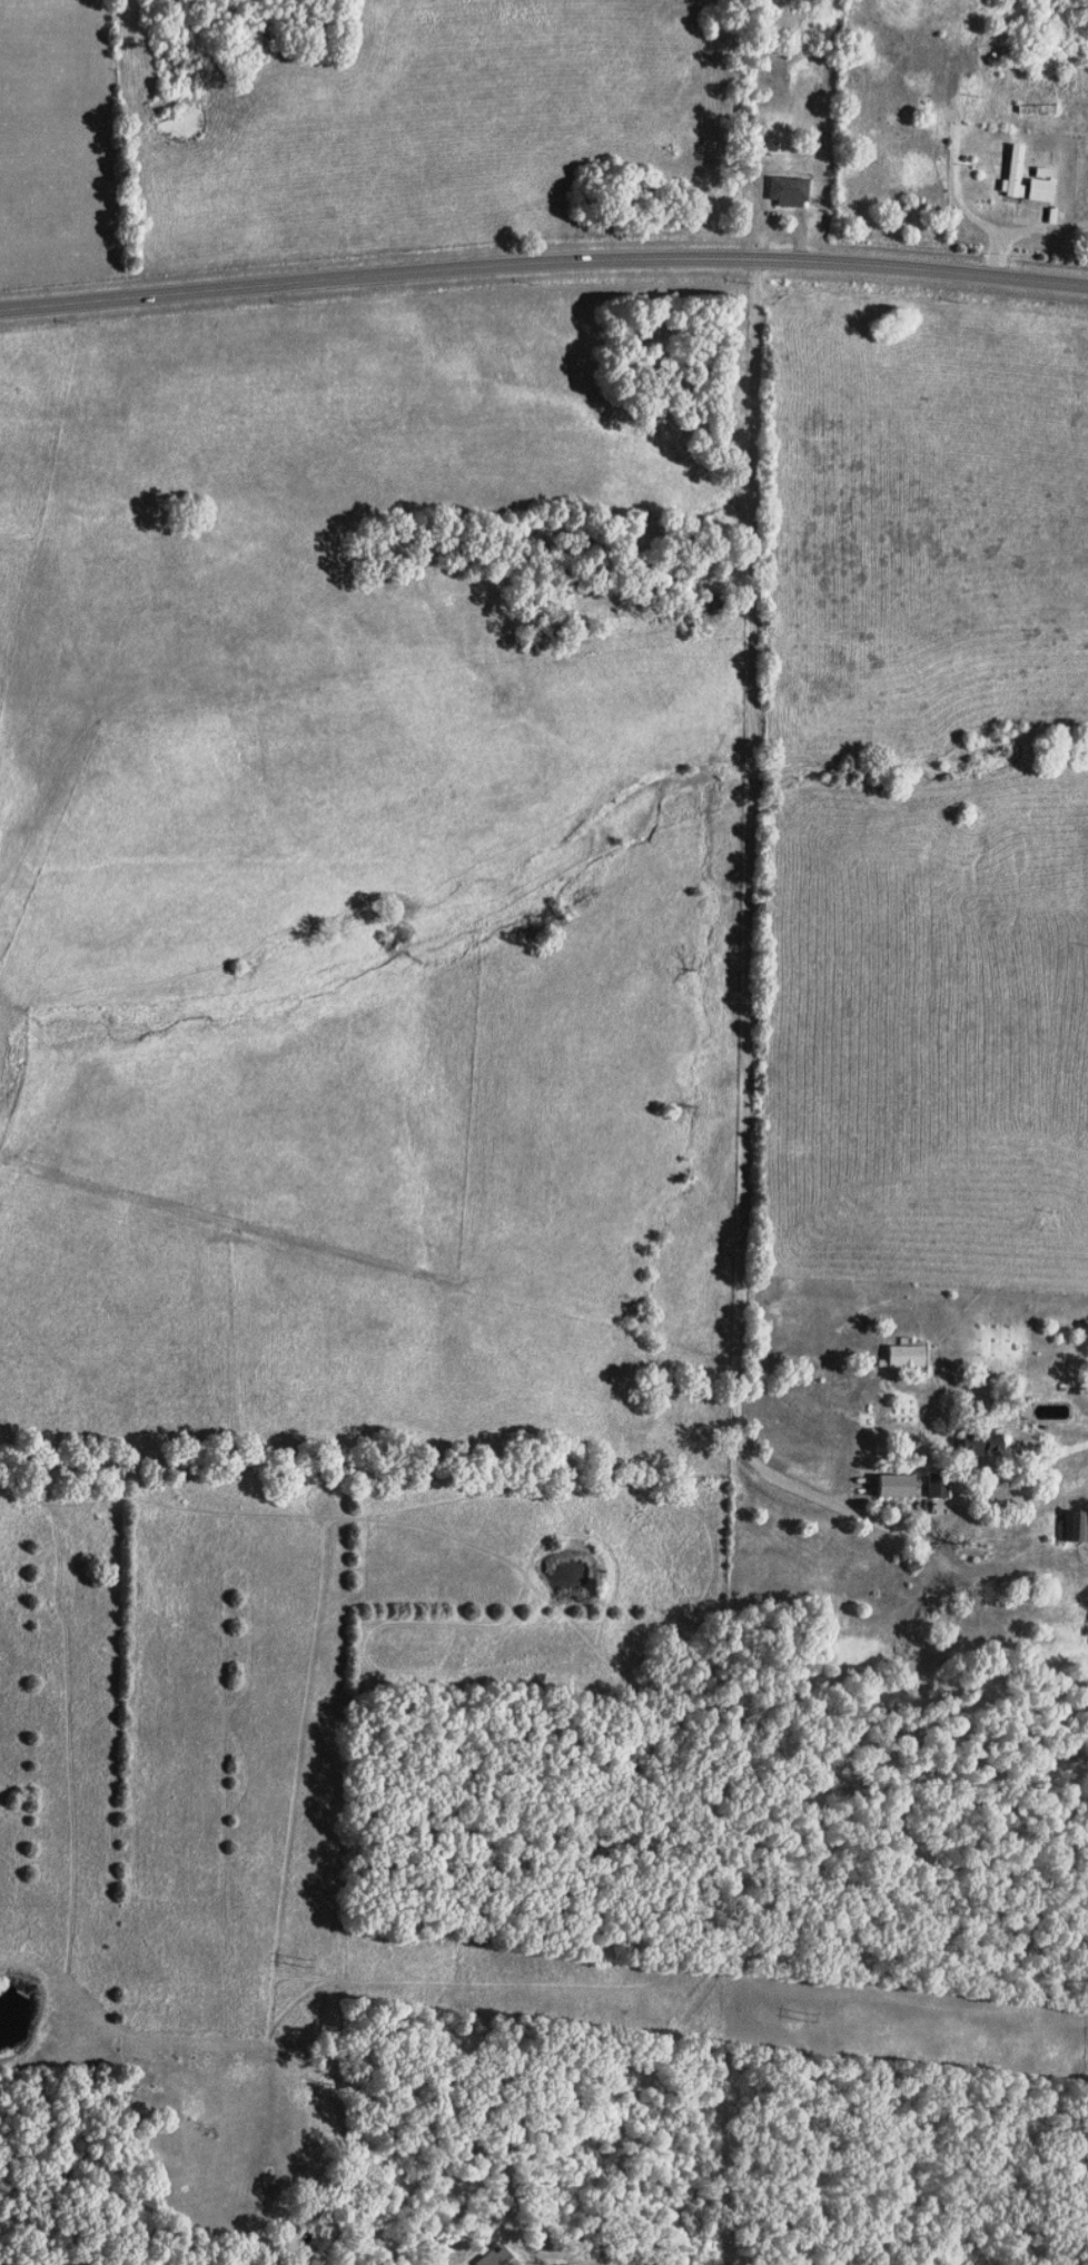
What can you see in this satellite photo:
building: (771, 146)
building: (1016, 171)
building: (1044, 189)
building: (790, 190)
road: (965, 207)
road: (544, 279)
road: (118, 1191)
building: (908, 1355)
building: (975, 1444)
building: (995, 1445)
building: (898, 1484)
building: (939, 1485)
road: (762, 1490)
building: (1076, 1525)
road: (465, 2185)
building: (497, 2256)

